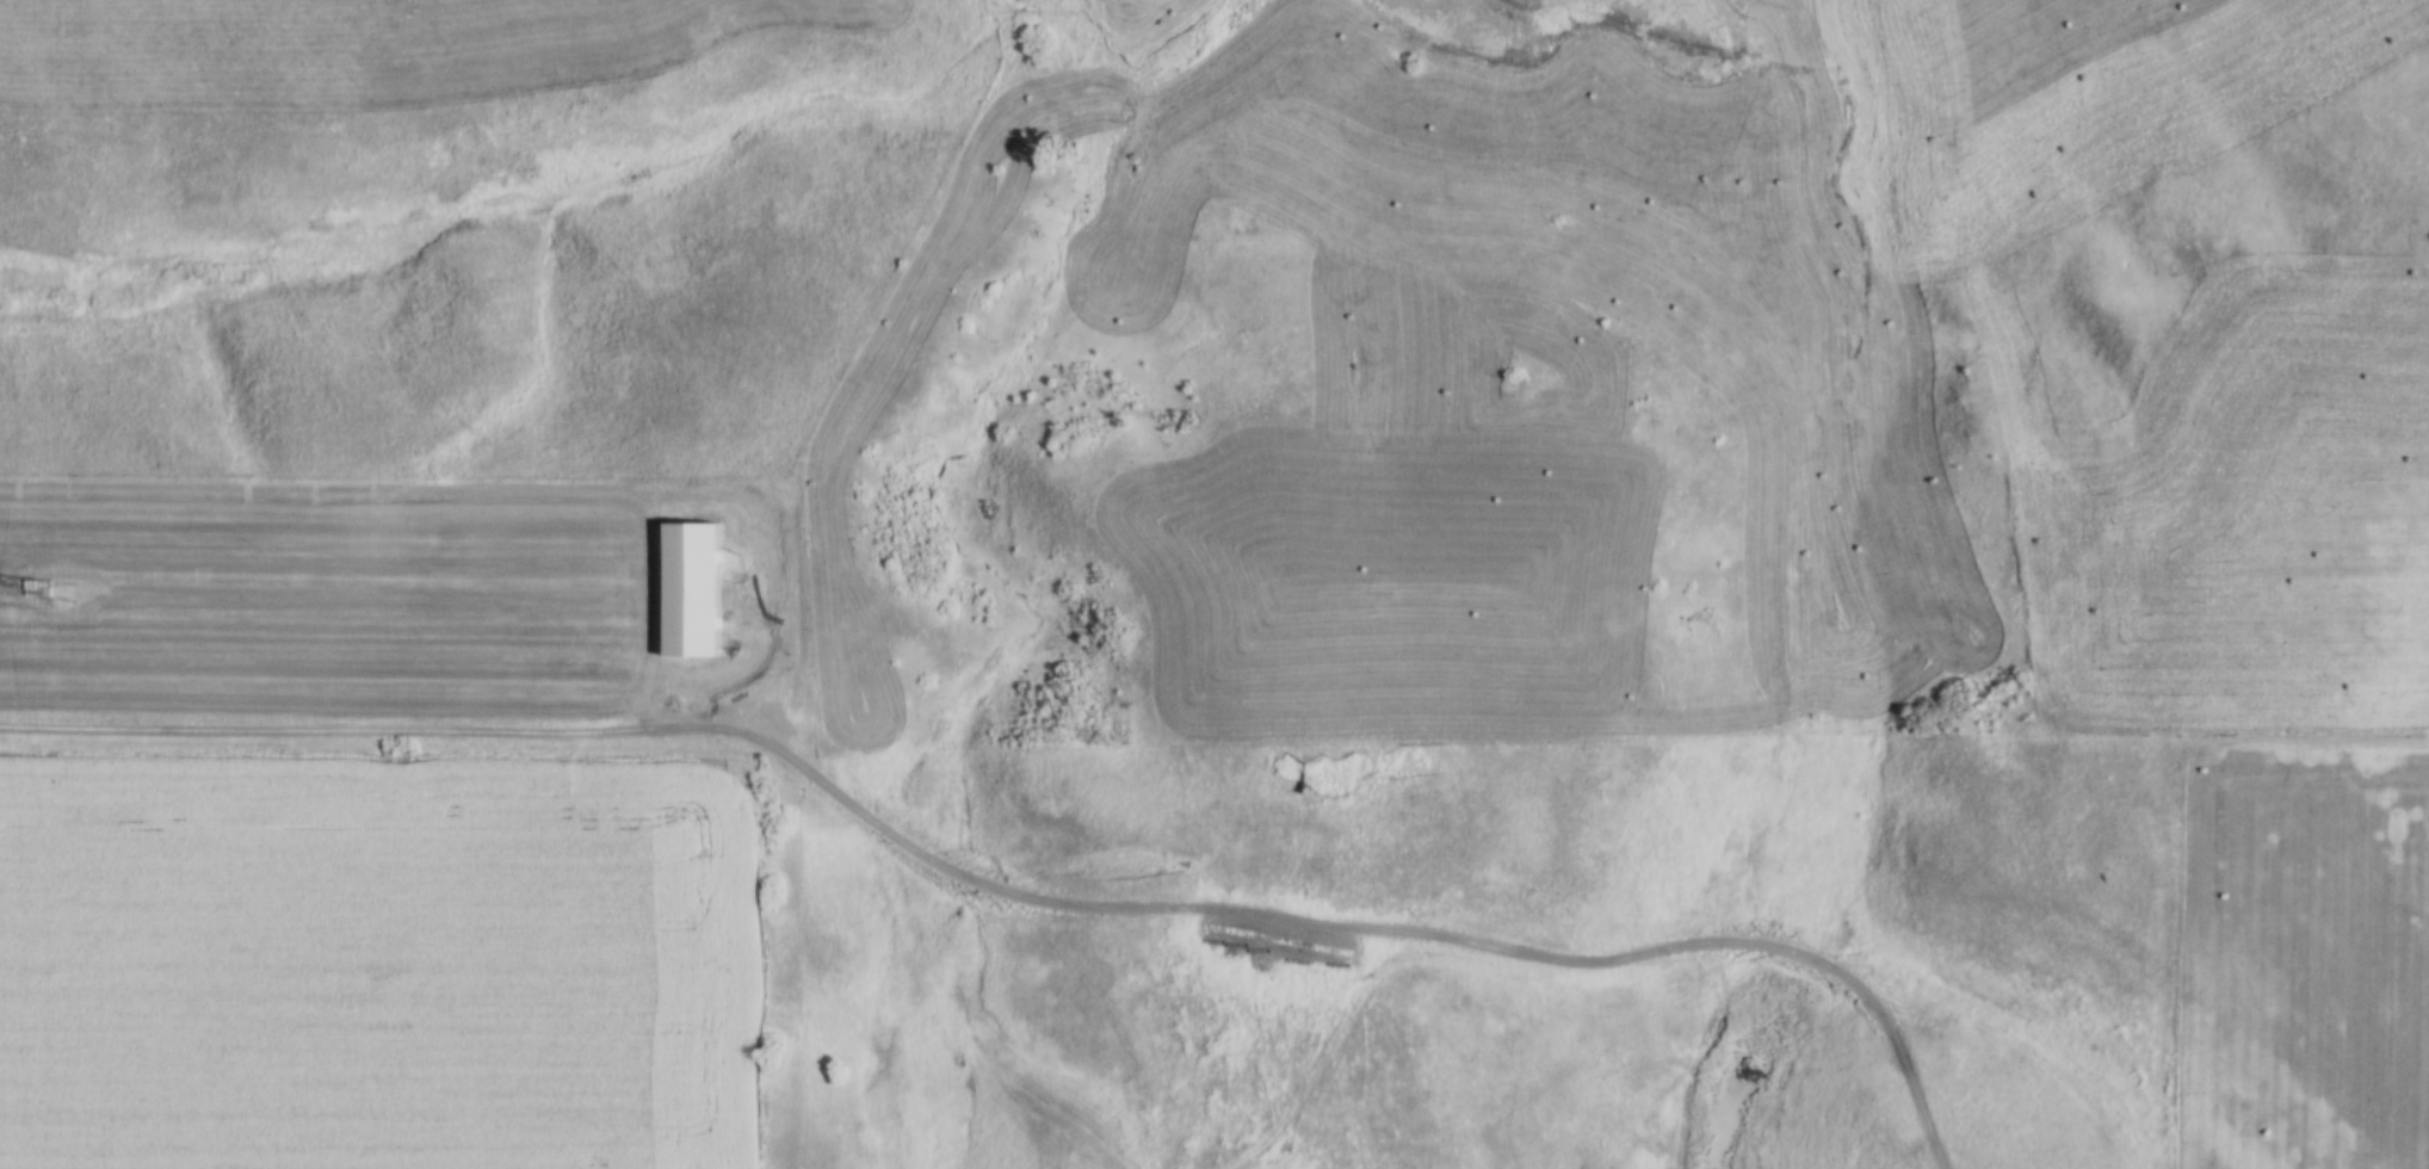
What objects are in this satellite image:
power tower: (56, 590)
road: (360, 735)

